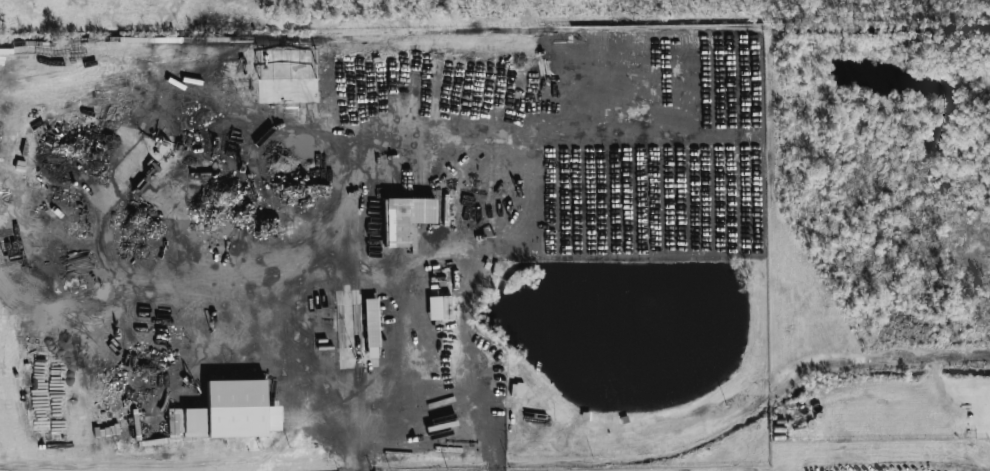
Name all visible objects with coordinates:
building: (405, 218)
building: (372, 322)
road: (307, 365)
building: (237, 419)
road: (672, 435)
road: (500, 461)

